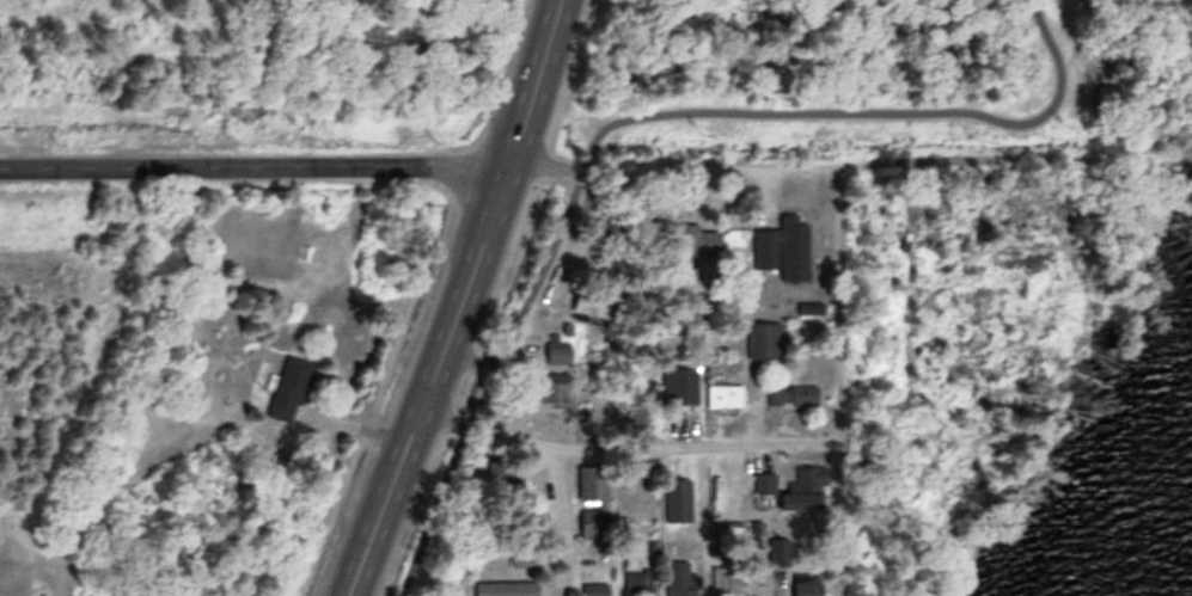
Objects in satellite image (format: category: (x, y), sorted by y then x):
road: (622, 112)
road: (589, 162)
building: (698, 238)
building: (783, 246)
road: (457, 300)
building: (592, 301)
building: (811, 306)
building: (765, 337)
building: (558, 350)
road: (840, 380)
building: (554, 385)
building: (685, 385)
building: (289, 386)
building: (725, 393)
building: (791, 393)
road: (630, 447)
building: (505, 468)
building: (765, 480)
building: (807, 487)
building: (677, 498)
building: (604, 502)
road: (566, 522)
building: (521, 553)
building: (680, 577)
building: (727, 578)
building: (638, 580)
building: (807, 584)
building: (506, 586)
building: (600, 589)

